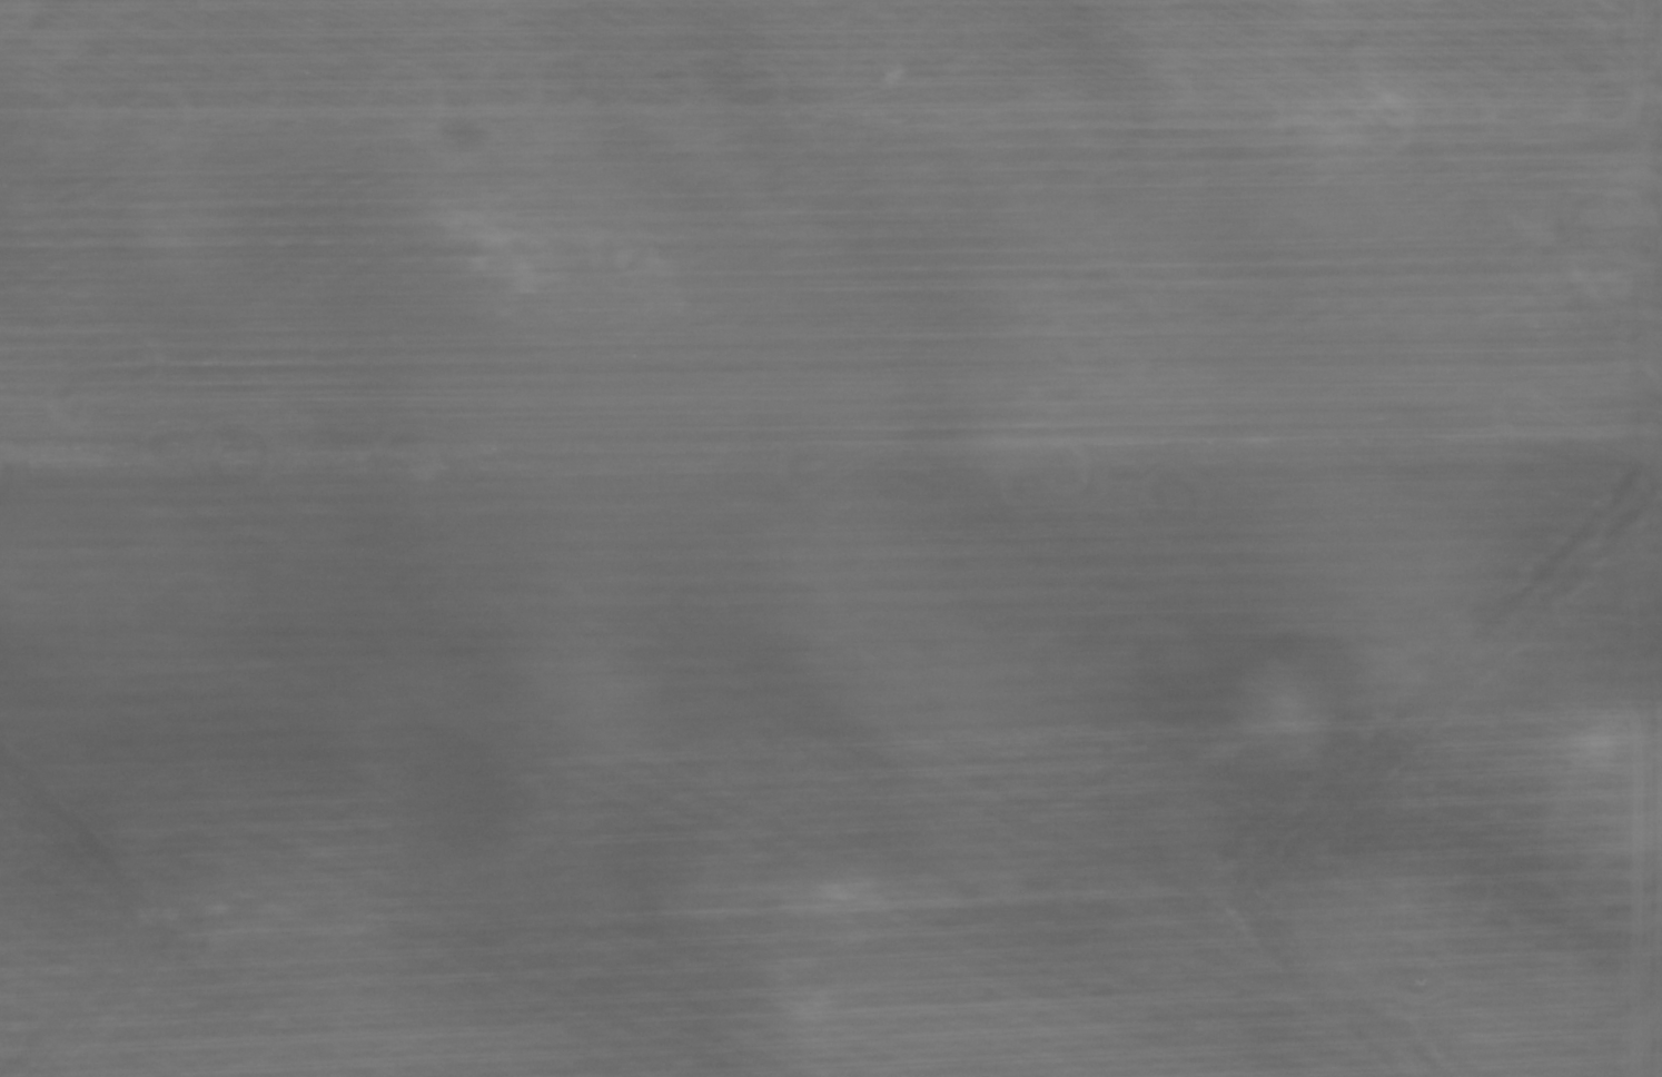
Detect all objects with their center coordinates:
crop: (831, 538)

